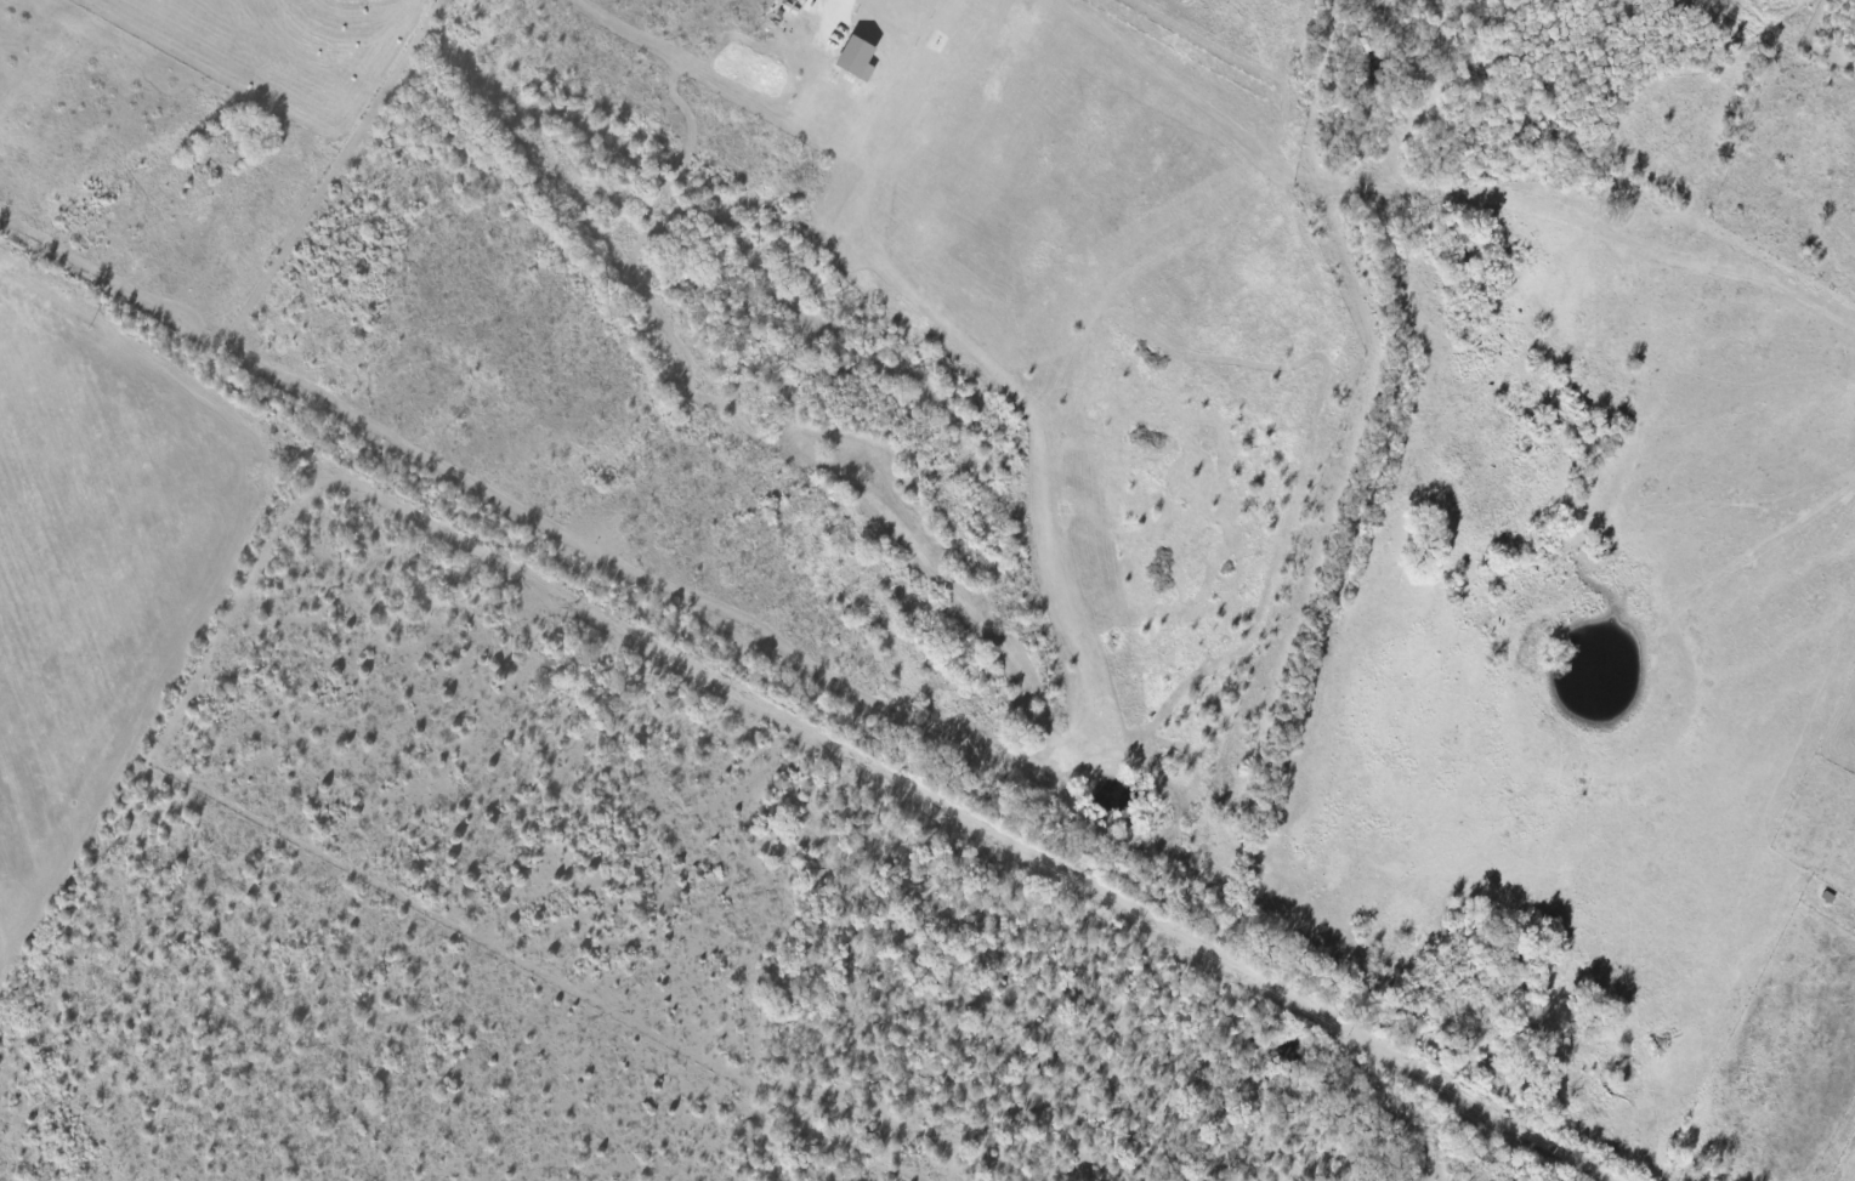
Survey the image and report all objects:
road: (832, 8)
building: (855, 58)
road: (1443, 198)

